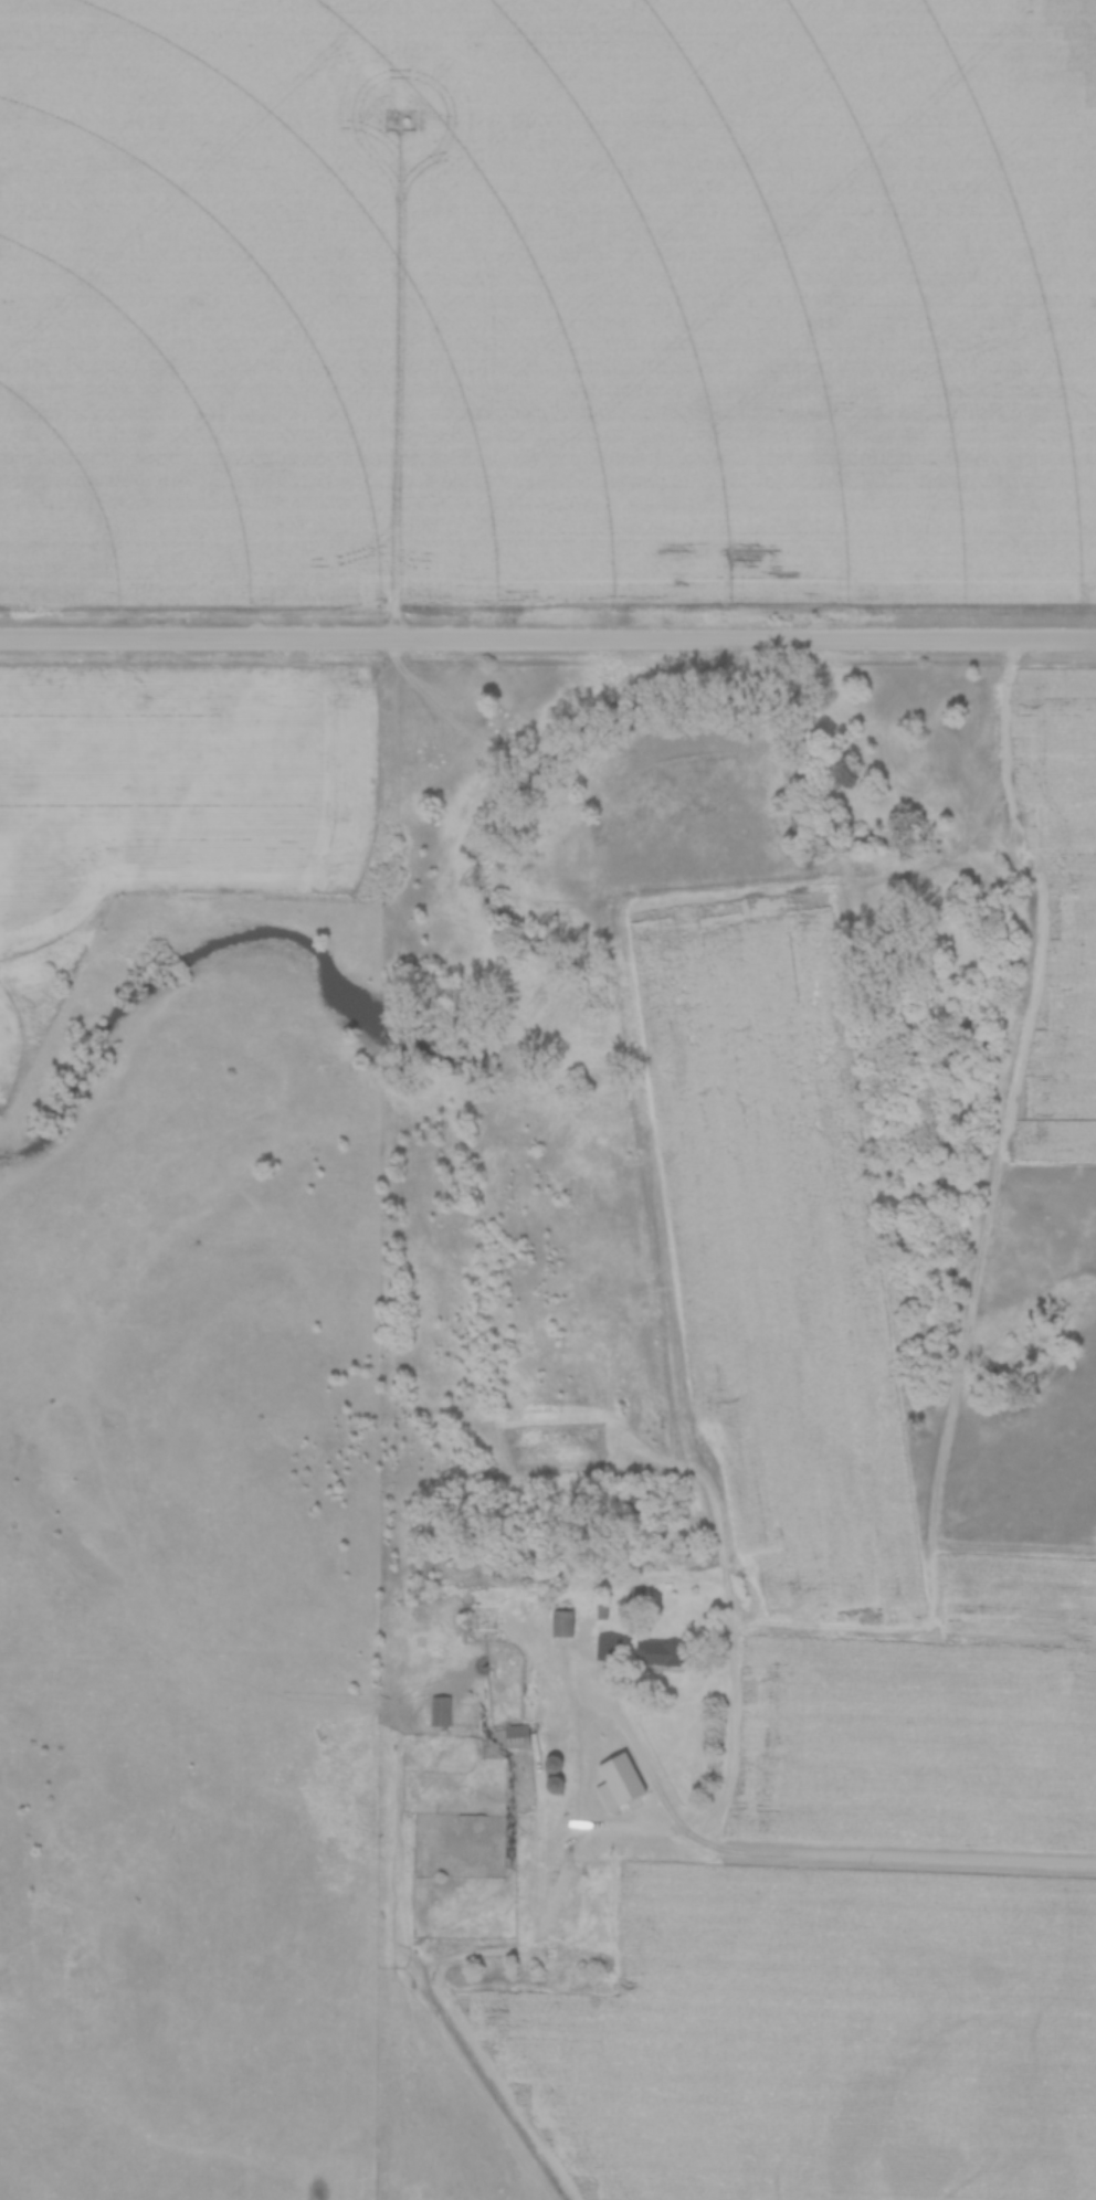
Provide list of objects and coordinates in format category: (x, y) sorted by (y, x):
road: (547, 638)
building: (600, 1611)
building: (562, 1622)
building: (609, 1647)
building: (663, 1651)
building: (440, 1710)
road: (584, 1730)
building: (519, 1735)
building: (621, 1781)
road: (889, 1859)

